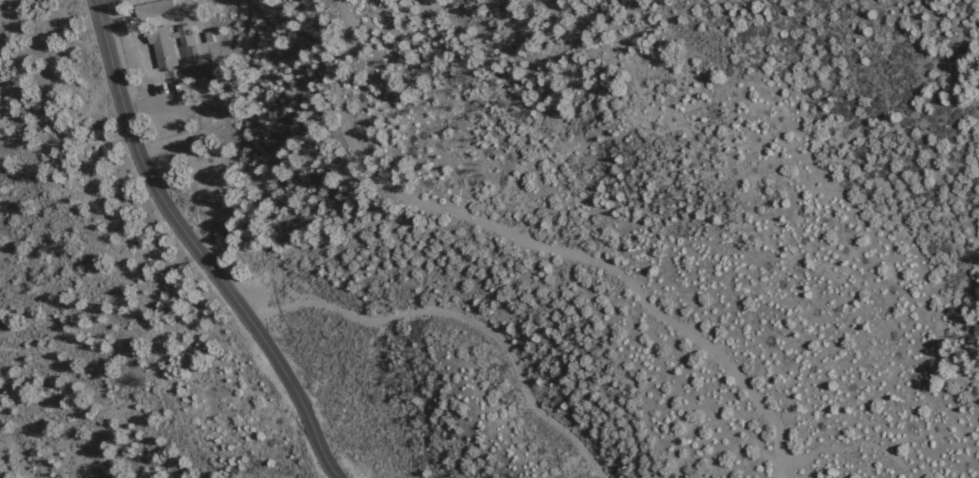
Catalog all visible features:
building: (158, 7)
building: (169, 44)
road: (152, 102)
road: (532, 245)
road: (195, 249)
road: (458, 316)

